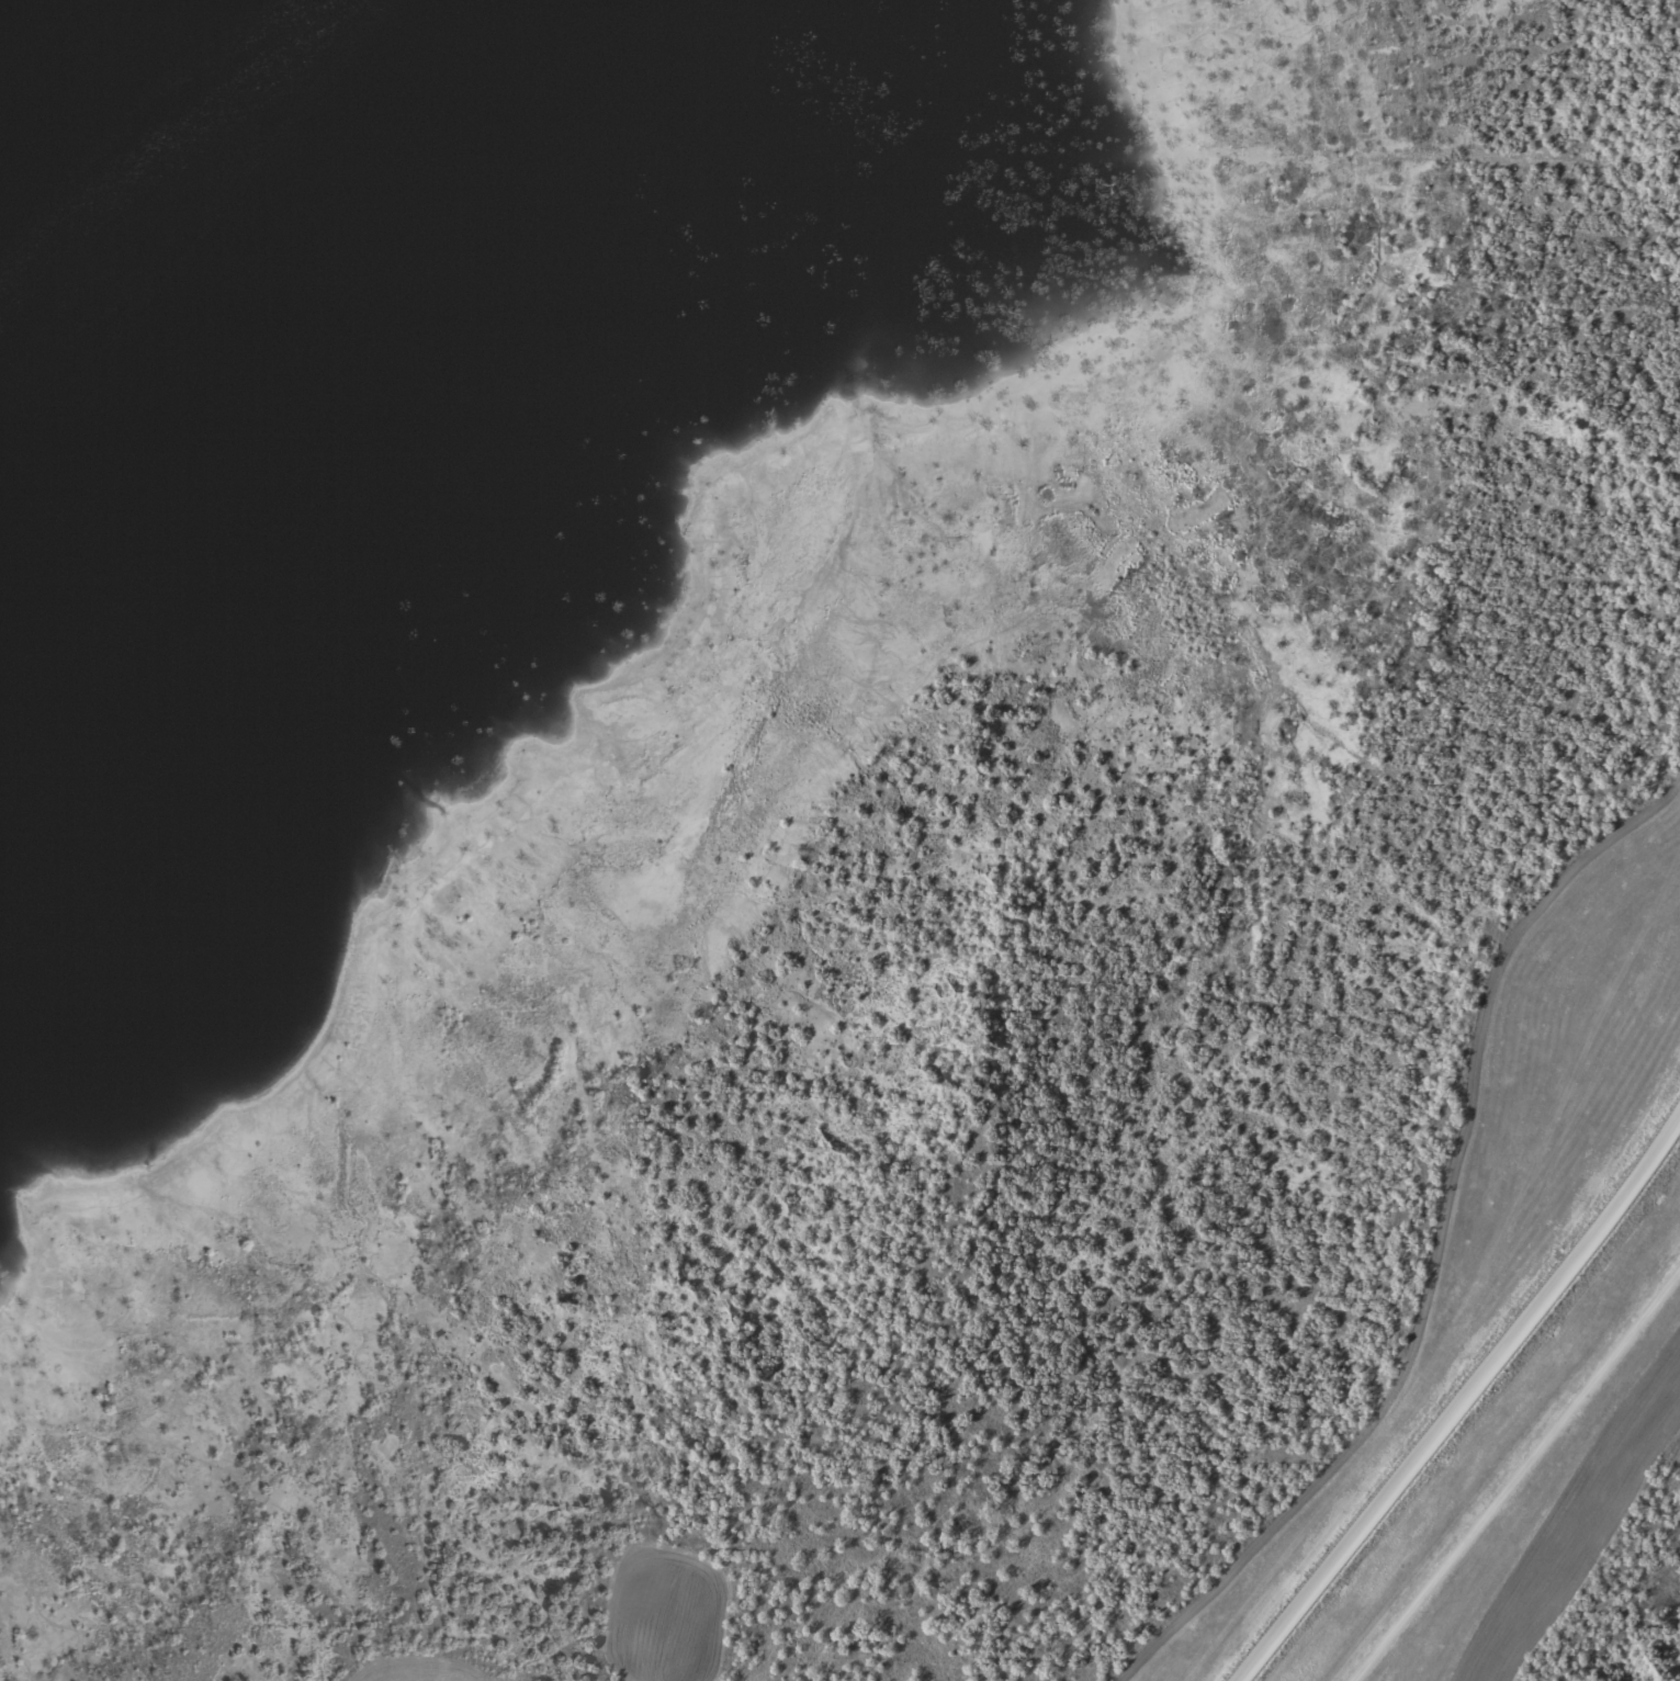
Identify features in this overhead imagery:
road: (1463, 1396)

